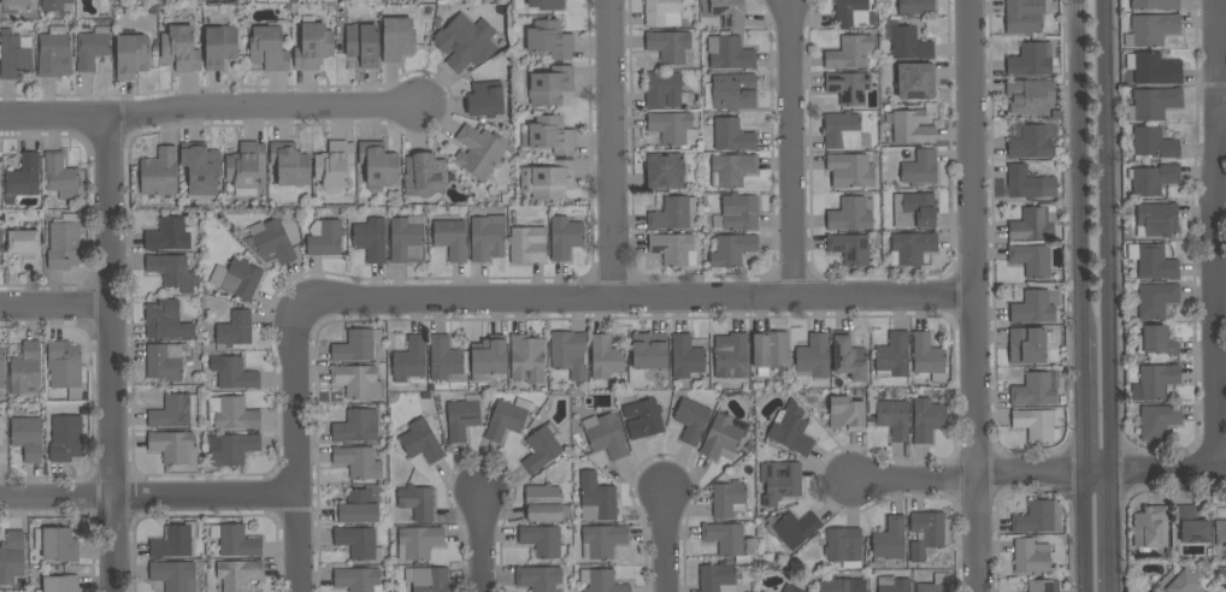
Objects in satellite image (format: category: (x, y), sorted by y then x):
building: (54, 4)
building: (546, 4)
building: (16, 5)
building: (1154, 5)
building: (914, 7)
building: (659, 11)
building: (729, 12)
building: (853, 13)
building: (1024, 17)
building: (1151, 30)
building: (397, 39)
building: (549, 40)
building: (465, 42)
building: (907, 42)
building: (363, 43)
building: (219, 47)
building: (313, 47)
building: (670, 47)
building: (92, 48)
building: (179, 49)
building: (267, 49)
building: (54, 53)
building: (849, 53)
building: (730, 54)
building: (131, 55)
building: (13, 57)
building: (1031, 60)
building: (1154, 69)
building: (916, 82)
building: (550, 85)
building: (848, 88)
building: (665, 90)
building: (733, 93)
building: (485, 99)
building: (1031, 99)
road: (1222, 102)
building: (1154, 103)
road: (210, 108)
building: (909, 128)
building: (672, 129)
building: (842, 131)
building: (549, 135)
building: (731, 135)
building: (1031, 143)
building: (1151, 144)
road: (612, 149)
road: (791, 149)
building: (478, 152)
building: (289, 164)
building: (378, 164)
building: (244, 165)
building: (334, 165)
building: (200, 168)
building: (849, 168)
building: (920, 168)
building: (731, 170)
road: (1080, 170)
building: (665, 171)
building: (159, 173)
building: (424, 176)
building: (60, 177)
building: (22, 178)
building: (547, 179)
building: (1153, 179)
building: (1028, 184)
building: (913, 211)
building: (739, 212)
building: (672, 214)
building: (849, 215)
building: (1155, 220)
building: (1035, 224)
road: (1215, 233)
building: (167, 236)
road: (1107, 236)
building: (324, 238)
building: (450, 238)
building: (487, 238)
building: (564, 238)
building: (371, 239)
building: (407, 239)
building: (272, 241)
building: (1, 242)
building: (63, 245)
building: (526, 245)
building: (25, 249)
building: (673, 249)
building: (849, 249)
building: (910, 249)
building: (731, 250)
building: (1031, 260)
building: (1153, 262)
building: (172, 272)
building: (241, 279)
road: (976, 295)
road: (636, 298)
building: (1154, 301)
road: (55, 307)
building: (1036, 307)
building: (165, 321)
building: (235, 330)
building: (1157, 342)
building: (355, 345)
building: (1026, 345)
building: (566, 350)
building: (770, 350)
building: (649, 351)
road: (112, 355)
building: (488, 356)
building: (892, 356)
building: (605, 357)
building: (848, 357)
building: (526, 359)
building: (731, 359)
building: (812, 359)
building: (927, 359)
building: (409, 360)
building: (444, 360)
building: (686, 360)
building: (164, 362)
building: (64, 365)
building: (1, 368)
building: (25, 368)
building: (232, 373)
building: (356, 381)
building: (1155, 381)
building: (1033, 390)
road: (1085, 405)
building: (175, 412)
building: (231, 414)
building: (845, 414)
building: (642, 418)
building: (891, 418)
building: (507, 419)
building: (461, 420)
building: (691, 420)
building: (926, 420)
building: (1155, 422)
building: (1036, 425)
building: (356, 427)
building: (791, 430)
building: (605, 436)
building: (26, 438)
building: (65, 438)
building: (720, 438)
building: (422, 442)
building: (1, 444)
road: (296, 446)
building: (173, 448)
building: (230, 449)
building: (541, 449)
building: (355, 461)
road: (1167, 469)
road: (1098, 472)
road: (1032, 473)
building: (779, 481)
road: (914, 481)
road: (148, 497)
building: (595, 498)
building: (727, 499)
building: (417, 502)
building: (544, 504)
building: (359, 505)
building: (1037, 517)
building: (1192, 526)
building: (792, 528)
road: (1112, 531)
building: (1150, 531)
road: (1086, 532)
building: (1220, 533)
building: (927, 534)
building: (725, 539)
building: (235, 540)
building: (602, 540)
road: (665, 540)
building: (175, 541)
building: (543, 541)
building: (888, 541)
building: (359, 543)
building: (418, 543)
road: (482, 543)
building: (55, 544)
building: (843, 546)
building: (11, 557)
building: (1031, 557)
building: (1222, 572)
building: (238, 574)
building: (173, 575)
building: (717, 578)
building: (428, 579)
building: (538, 579)
building: (358, 580)
building: (601, 581)
building: (1179, 582)
building: (60, 584)
building: (936, 584)
building: (841, 585)
building: (894, 585)
building: (1043, 586)
building: (790, 588)
road: (1113, 591)
building: (1150, 591)
building: (1153, 591)

